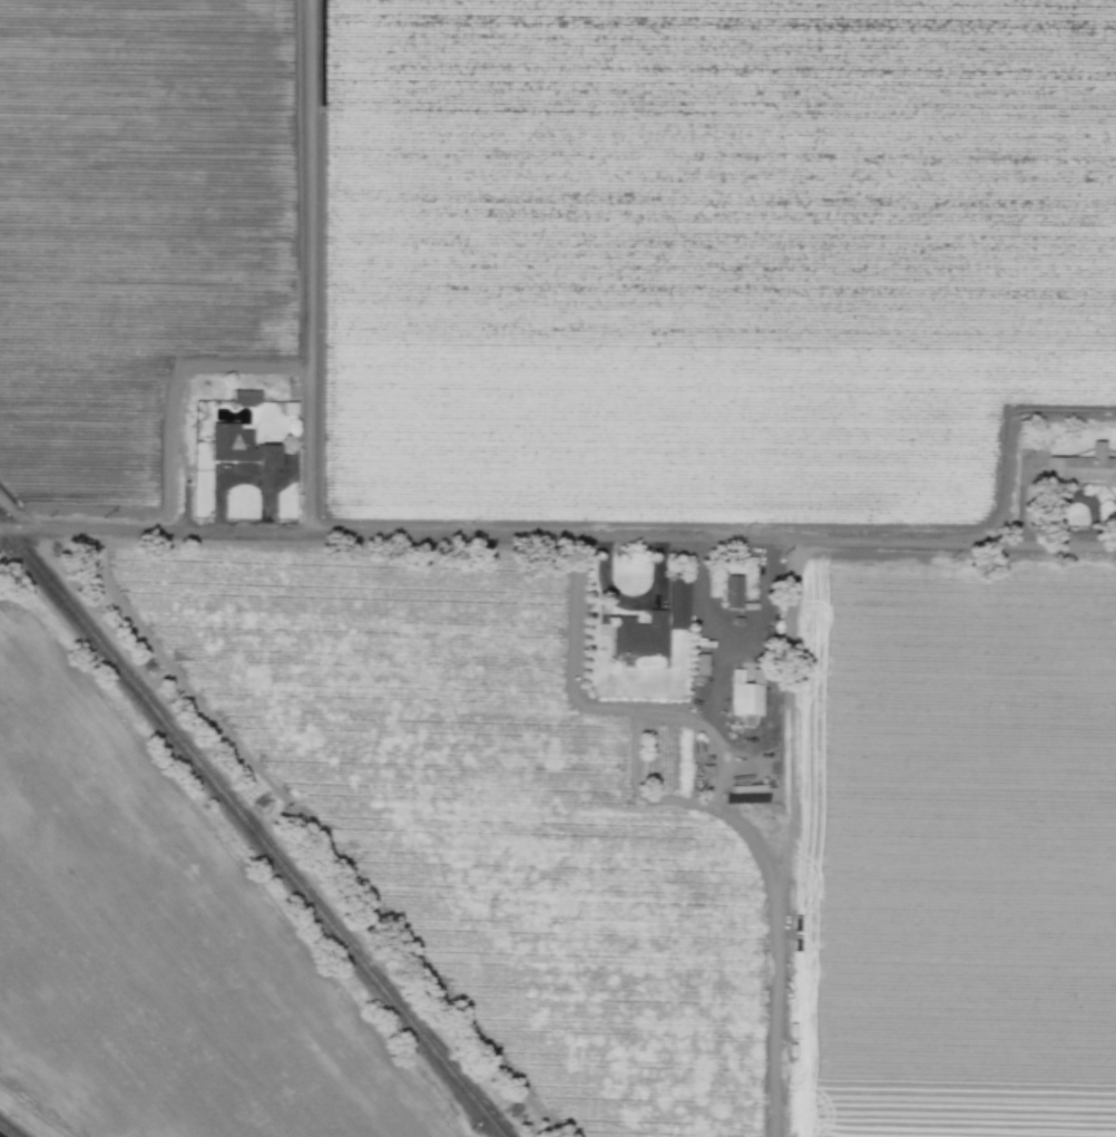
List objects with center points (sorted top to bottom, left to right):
building: (1054, 466)
road: (243, 475)
road: (558, 536)
building: (732, 591)
road: (635, 601)
building: (652, 624)
road: (731, 630)
building: (698, 663)
road: (718, 676)
building: (745, 698)
railway: (251, 830)

